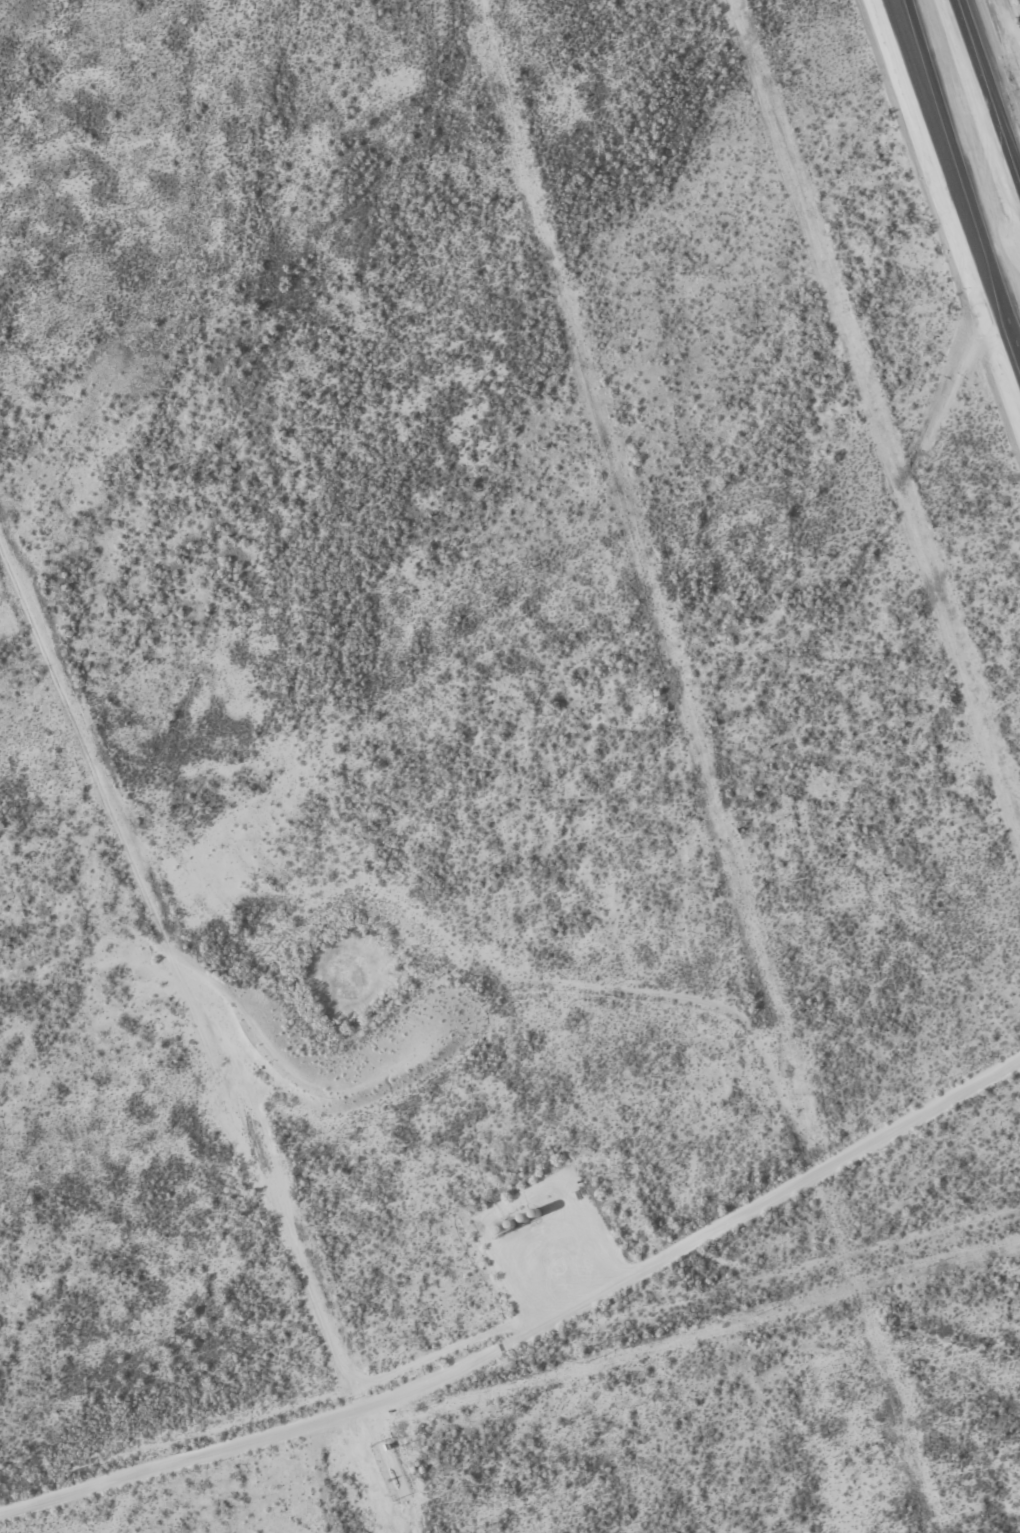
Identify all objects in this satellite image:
road: (990, 83)
road: (525, 1327)

